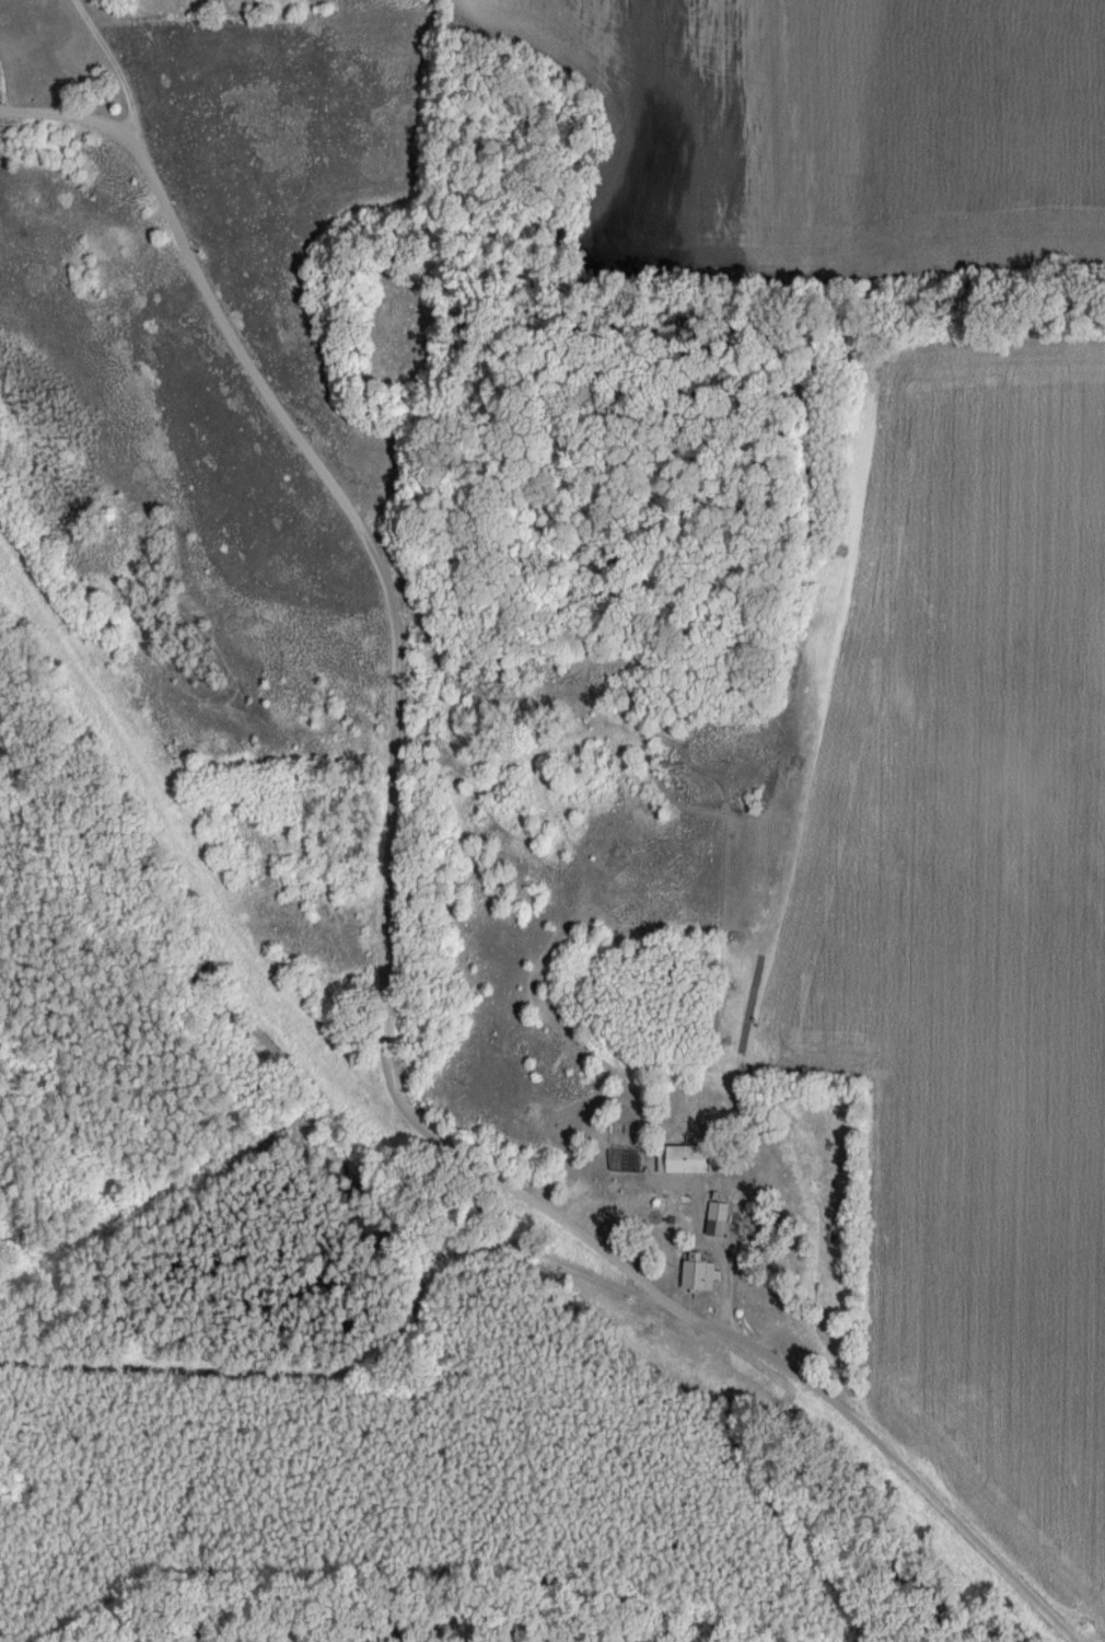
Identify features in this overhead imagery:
road: (109, 61)
road: (388, 940)
building: (678, 1157)

